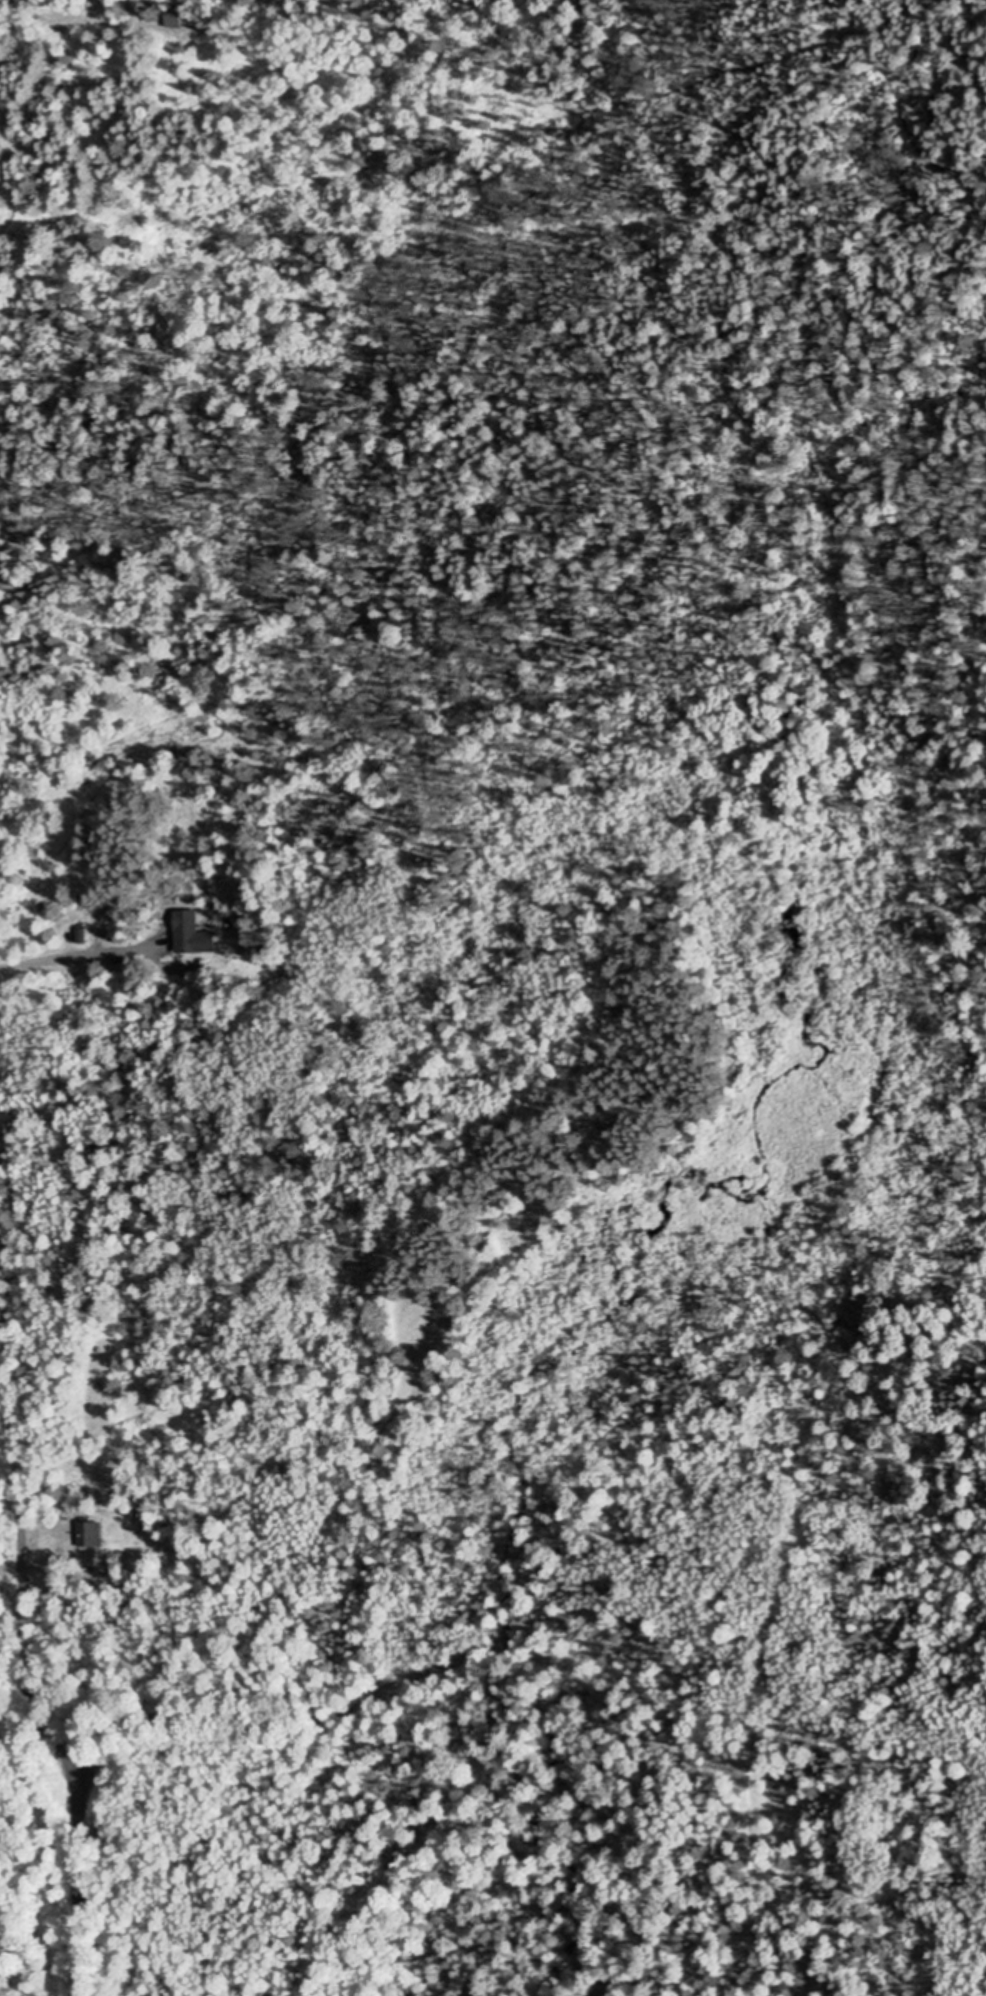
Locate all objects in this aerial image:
road: (74, 1883)

